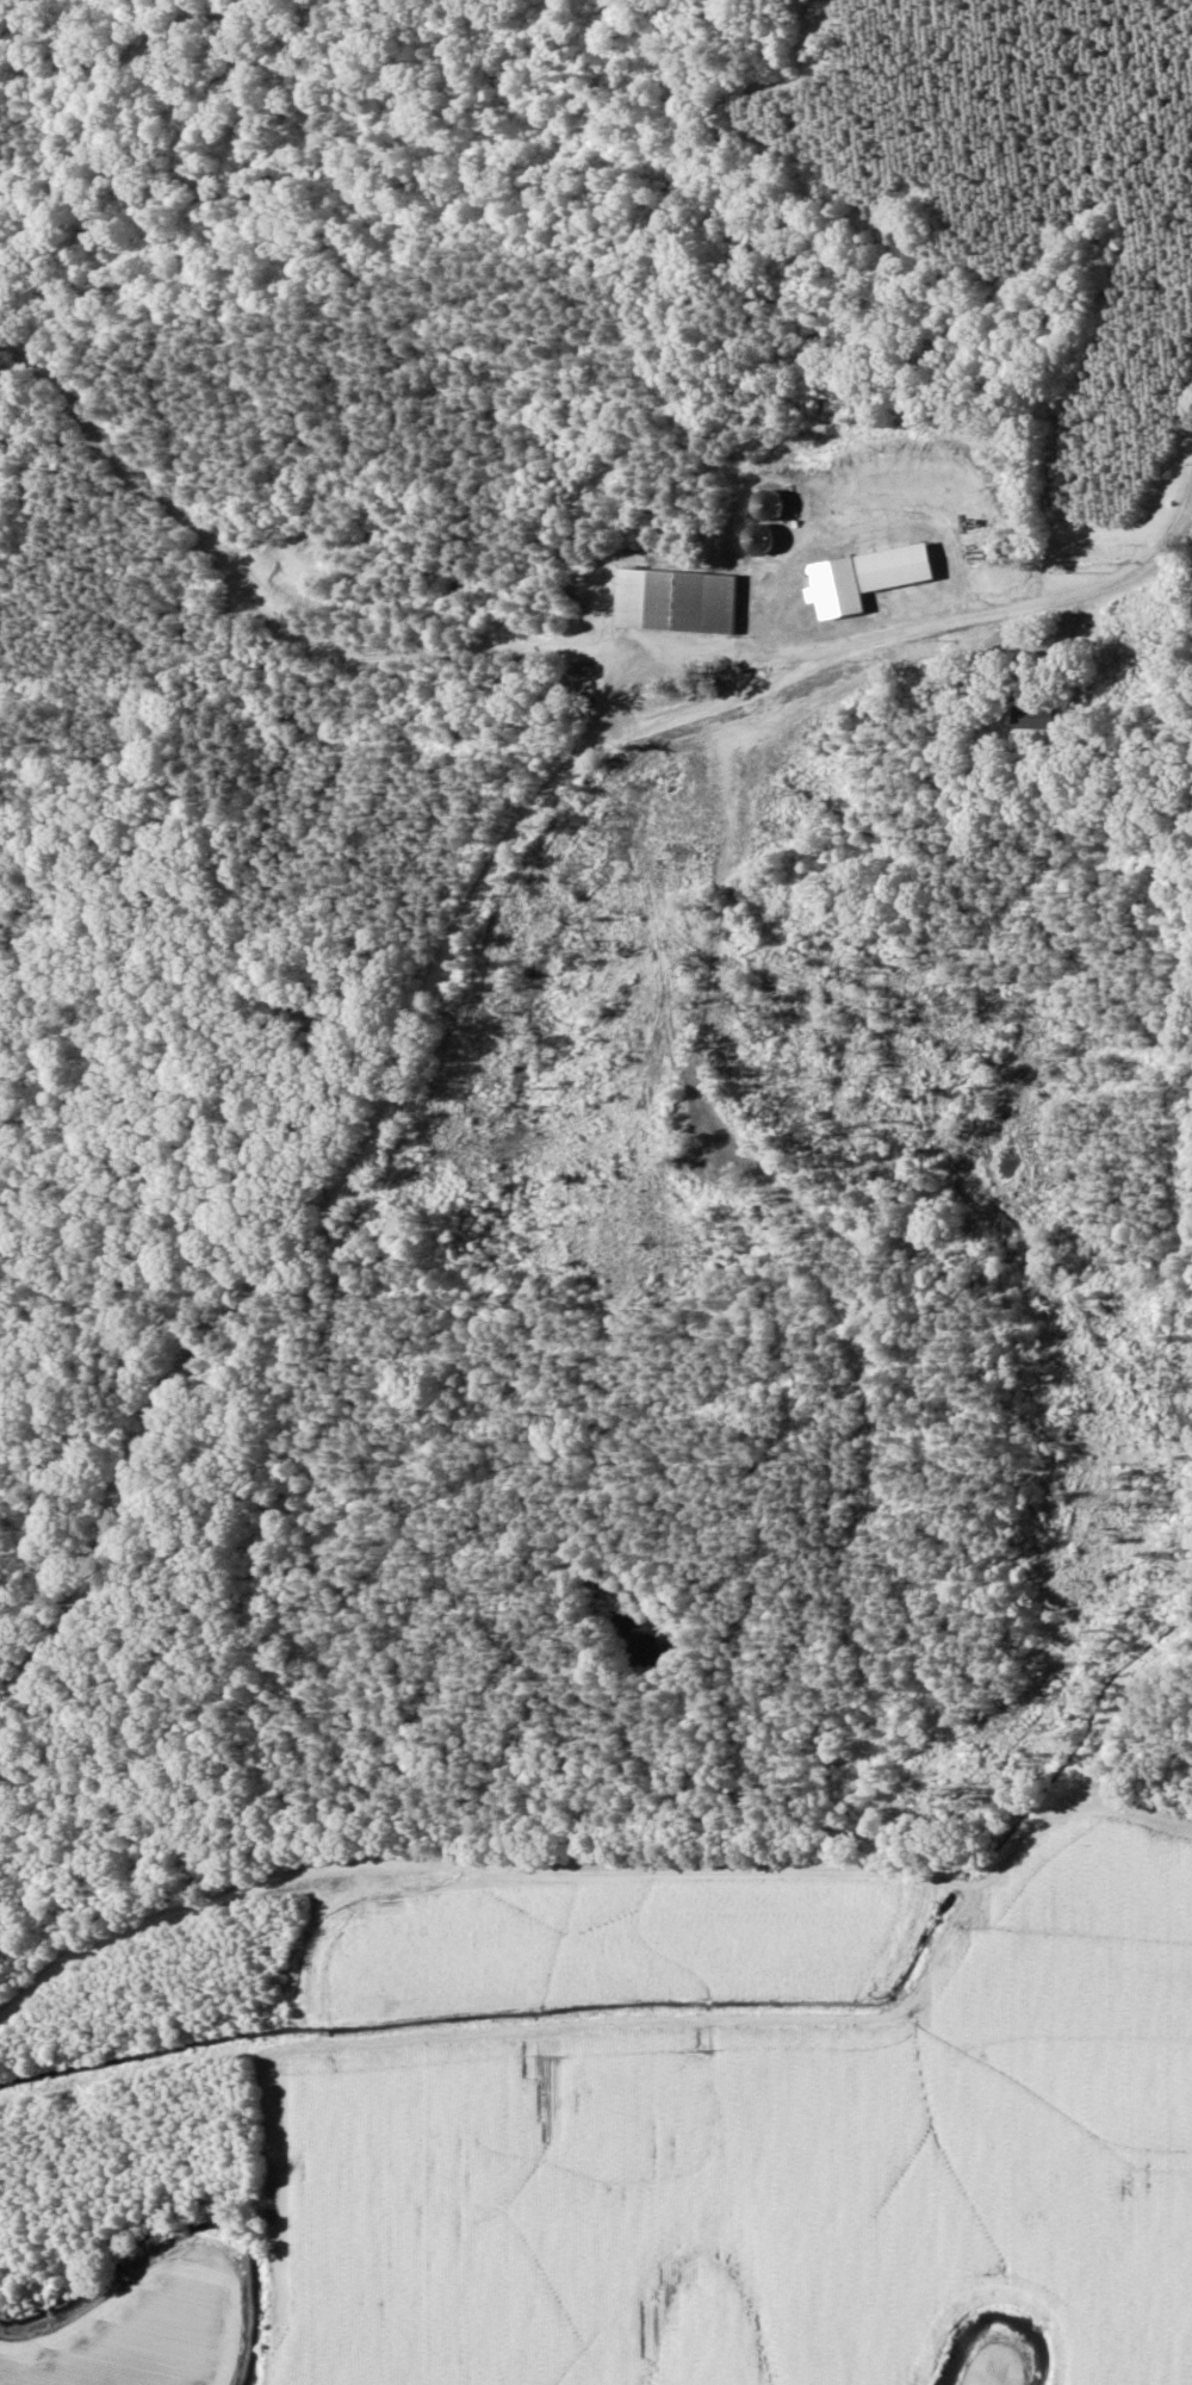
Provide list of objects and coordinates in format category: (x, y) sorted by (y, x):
building: (671, 601)
road: (466, 933)

